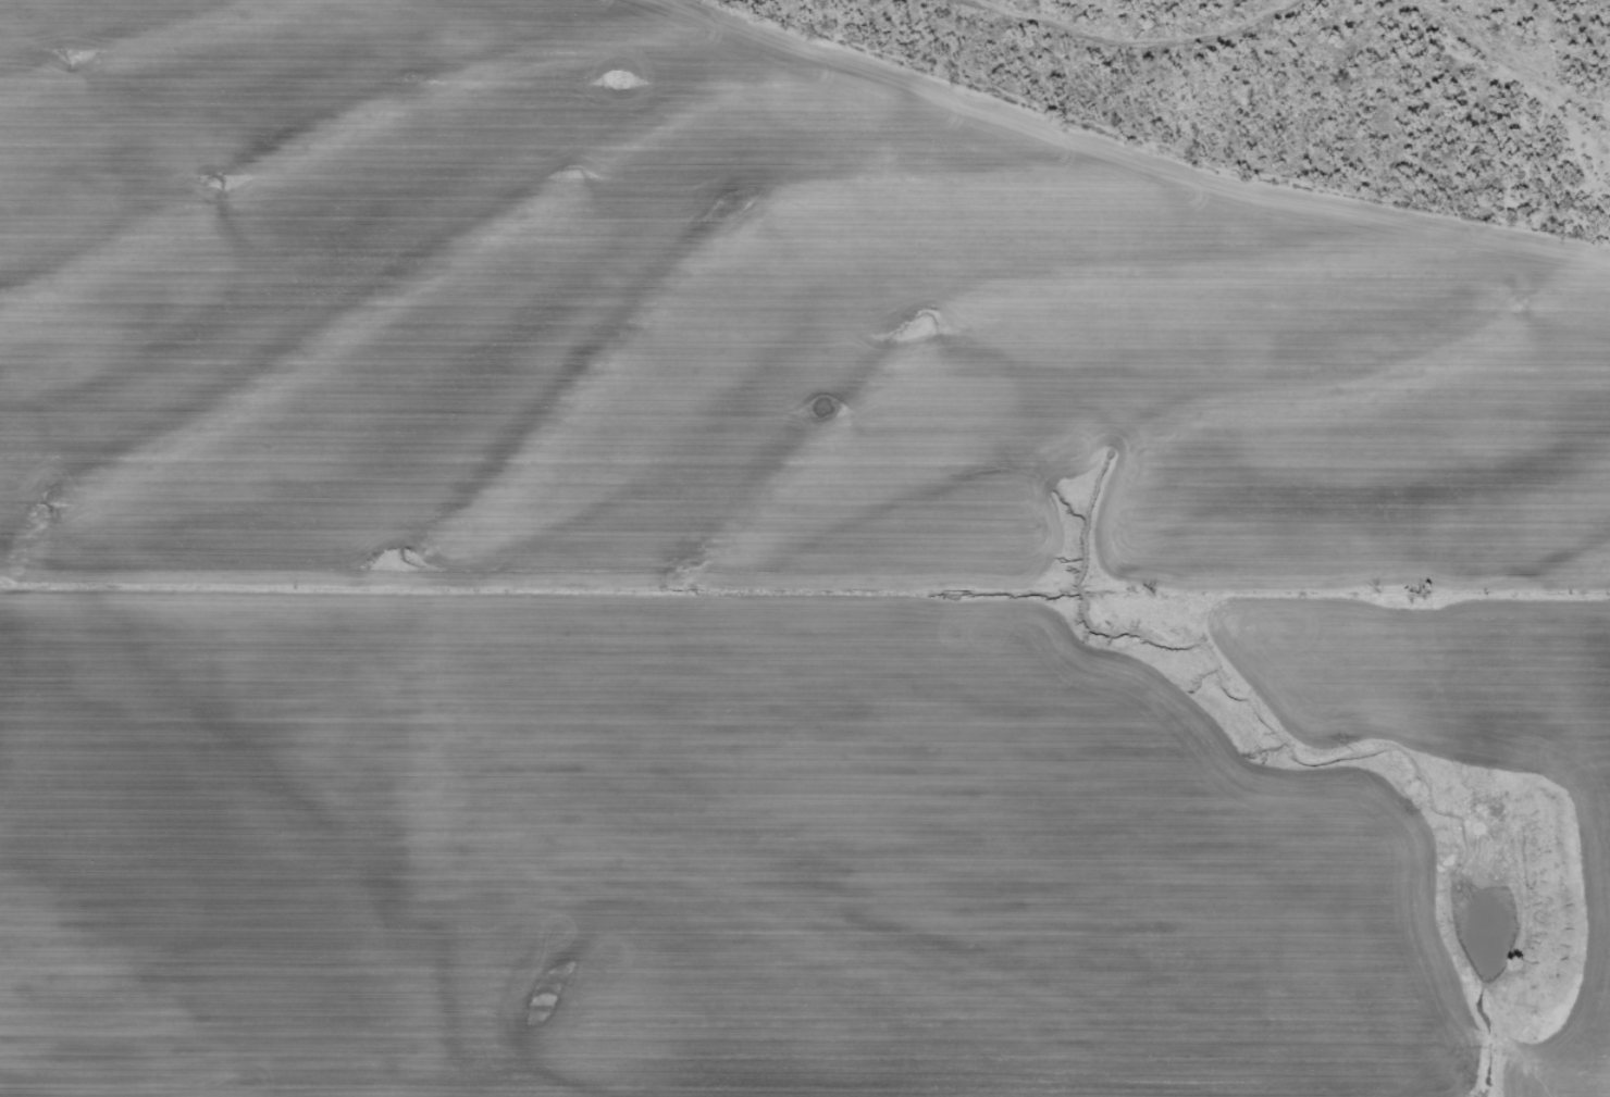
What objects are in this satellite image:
road: (1526, 1056)

